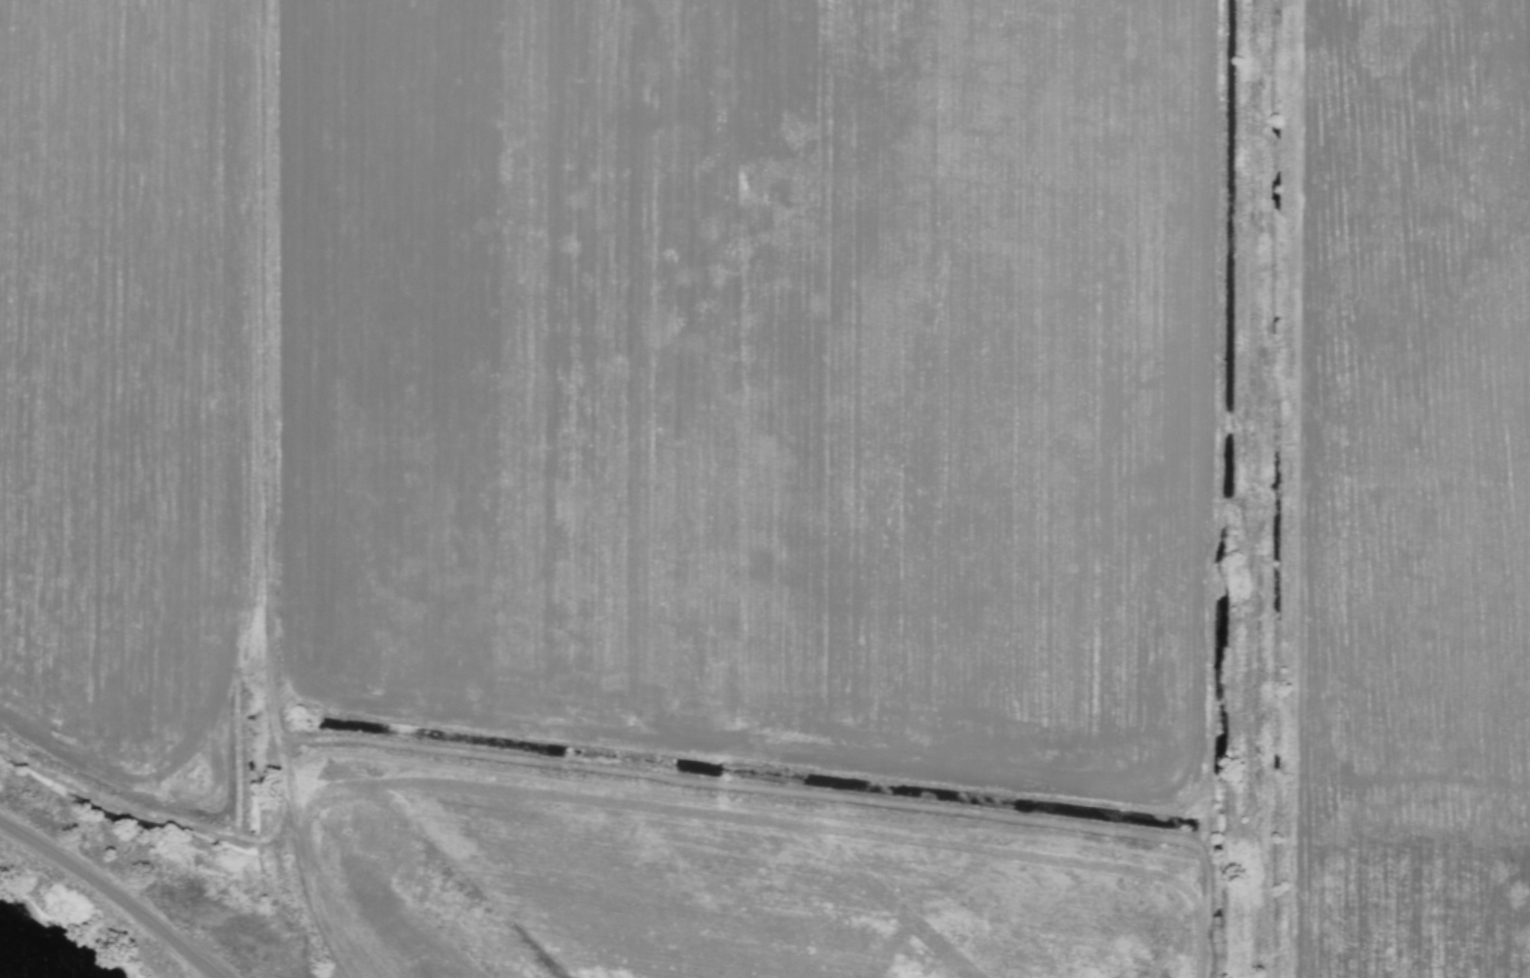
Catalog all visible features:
road: (112, 899)

